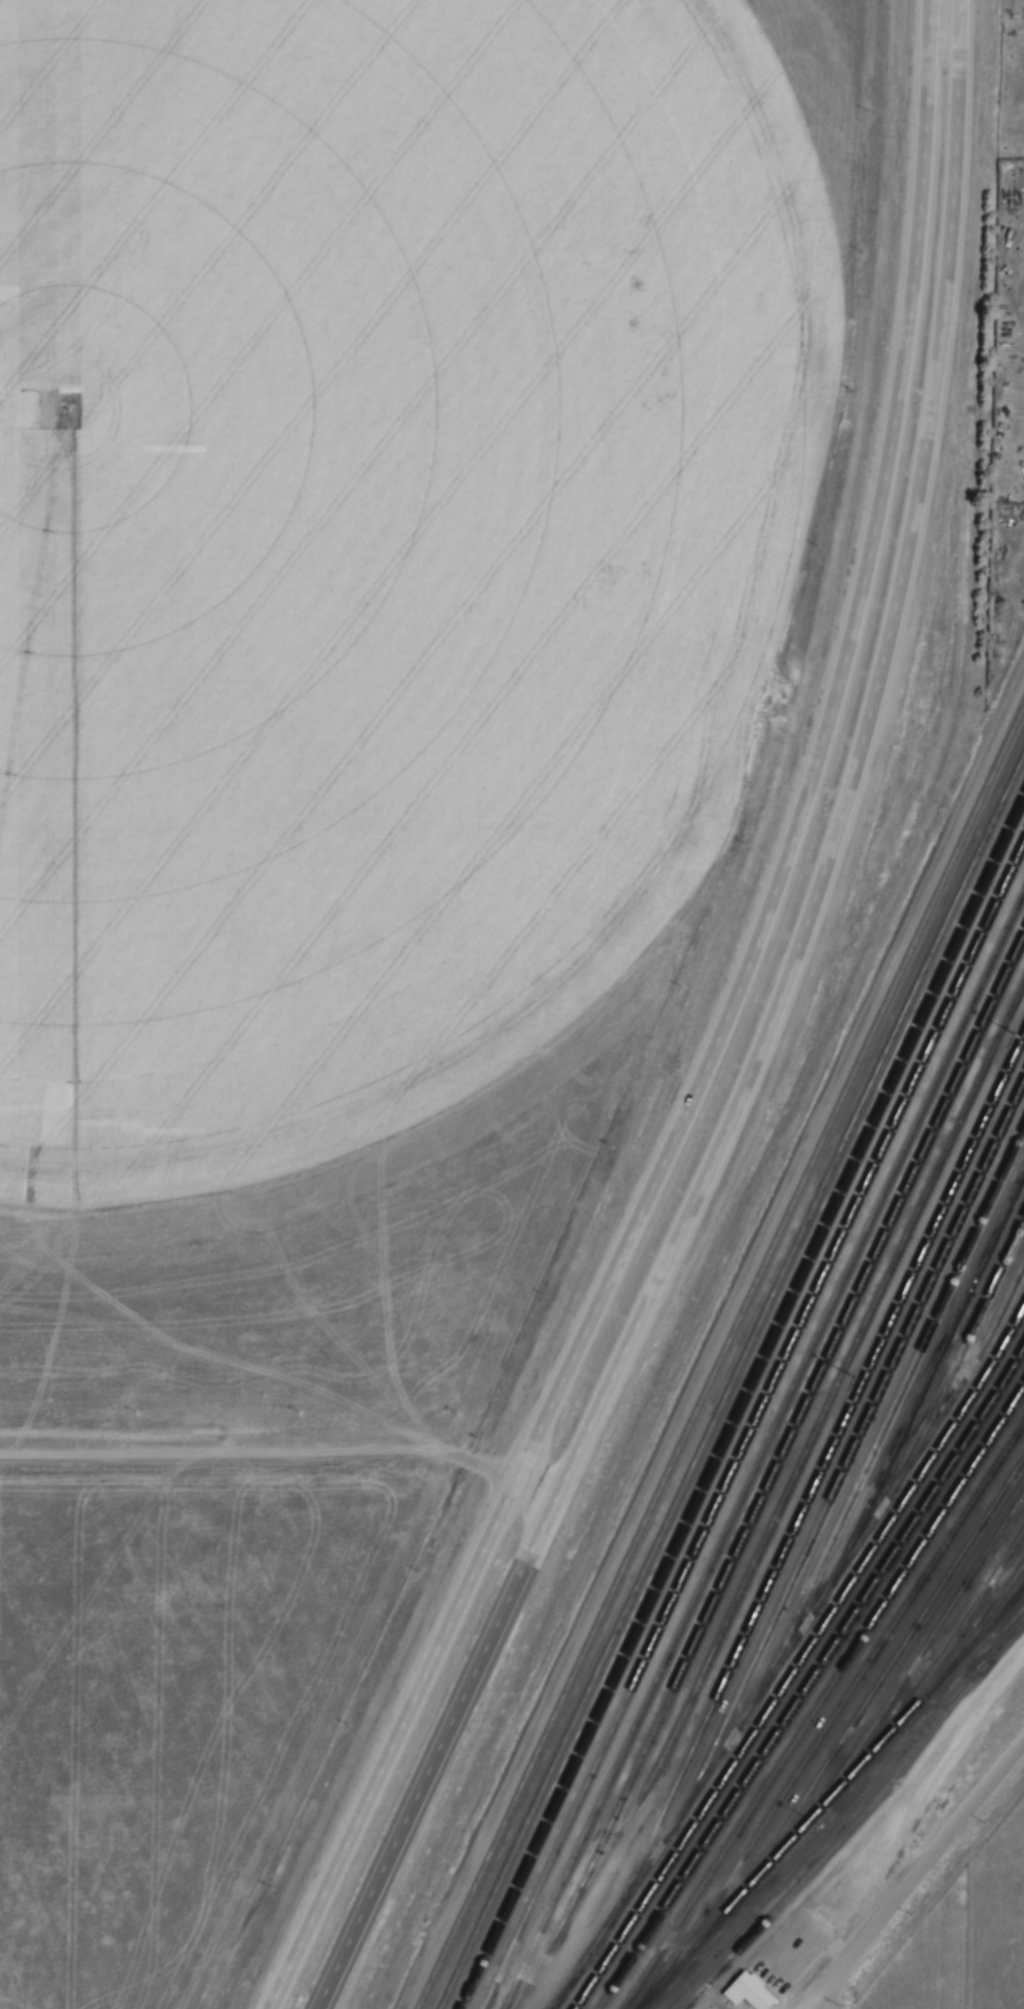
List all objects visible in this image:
road: (1018, 277)
road: (801, 1037)
road: (714, 1039)
road: (762, 1040)
road: (713, 1336)
railway: (959, 1358)
railway: (721, 1362)
railway: (925, 1382)
railway: (732, 1384)
railway: (742, 1402)
railway: (885, 1424)
railway: (752, 1428)
railway: (789, 1435)
railway: (763, 1448)
railway: (852, 1449)
road: (281, 1462)
railway: (812, 1488)
railway: (781, 1503)
railway: (1014, 1595)
railway: (1014, 1597)
railway: (983, 1620)
railway: (794, 1637)
railway: (944, 1651)
railway: (992, 1651)
railway: (801, 1658)
railway: (911, 1666)
railway: (812, 1678)
railway: (822, 1698)
railway: (863, 1707)
railway: (832, 1718)
road: (925, 1787)
railway: (821, 1810)
road: (939, 1842)
railway: (812, 1847)
railway: (827, 1852)
road: (827, 1977)
building: (754, 1991)
railway: (559, 1993)
building: (735, 1994)

